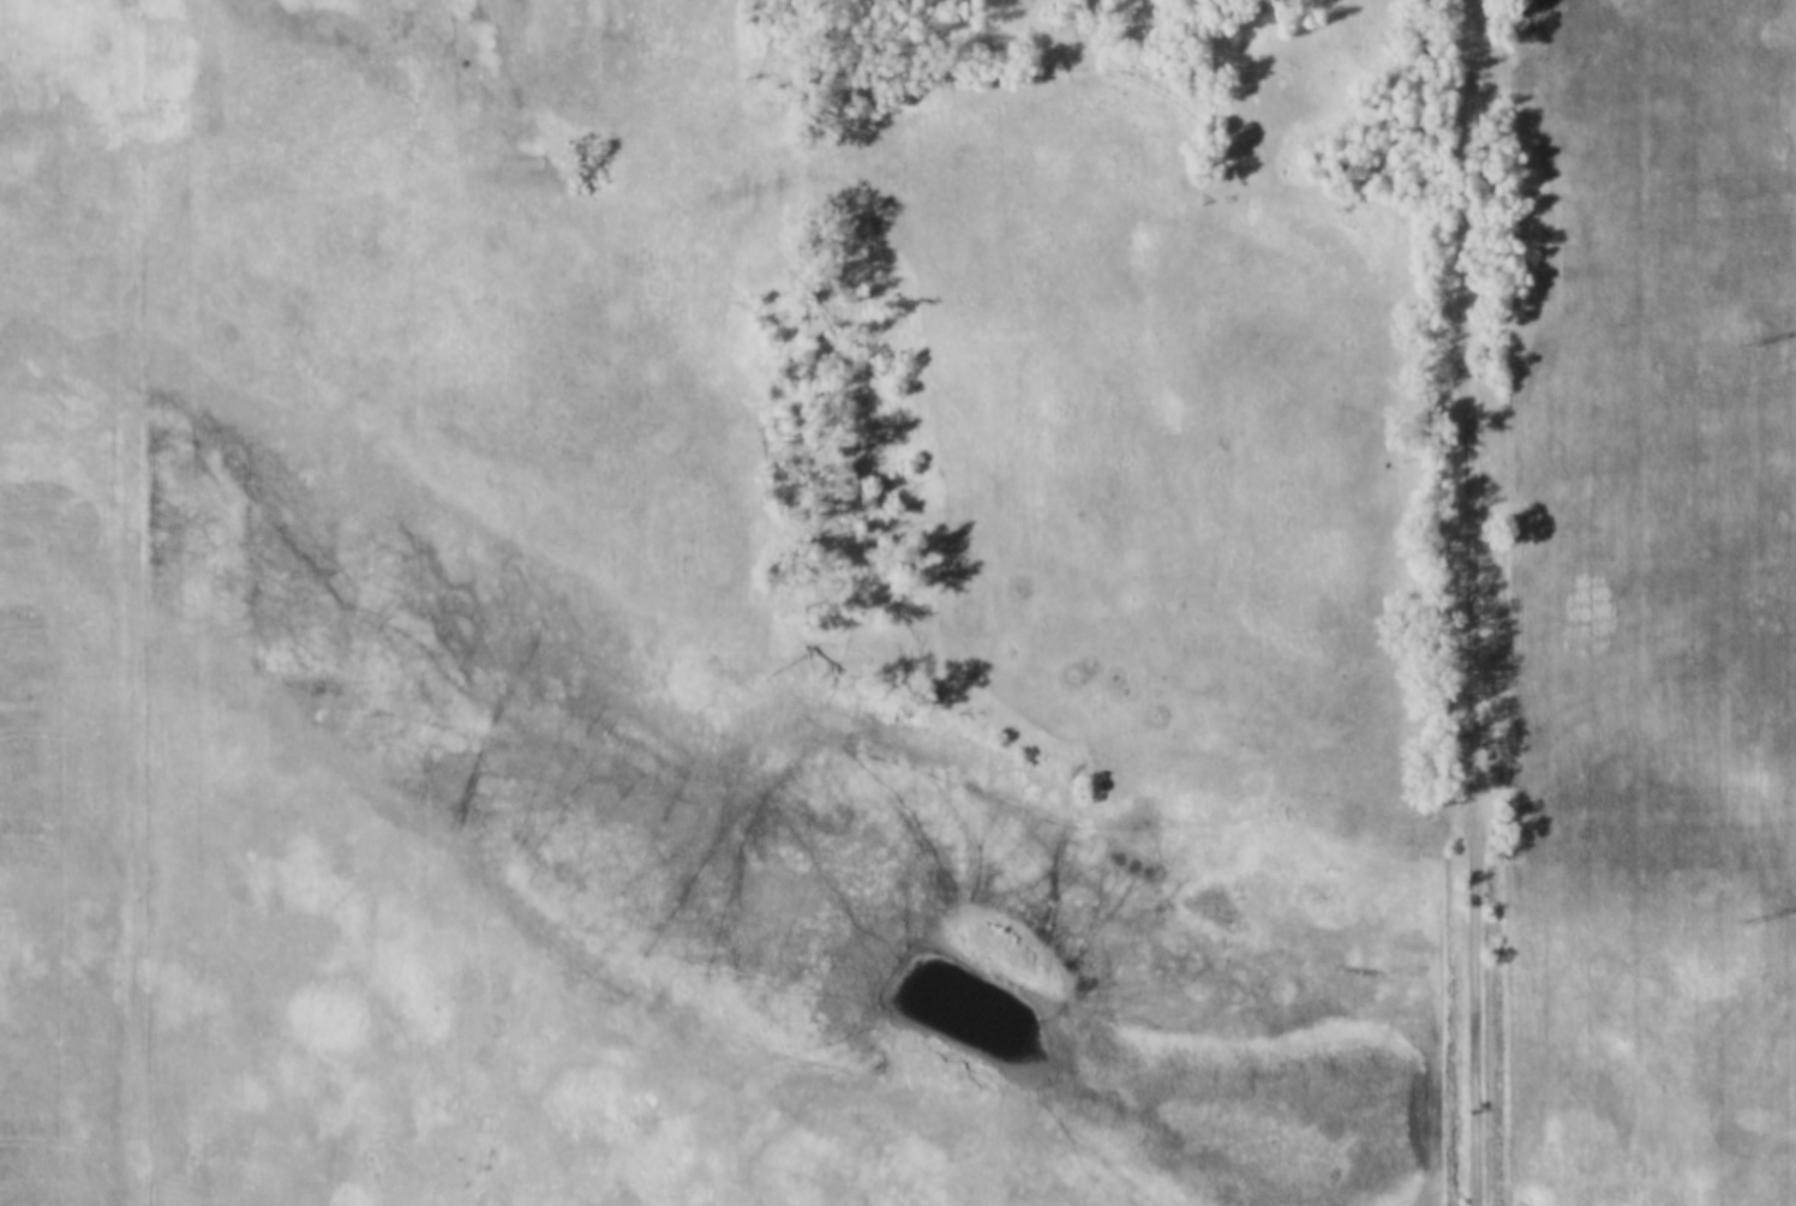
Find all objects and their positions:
power tower: (1750, 342)
road: (1468, 602)
power tower: (1750, 919)

